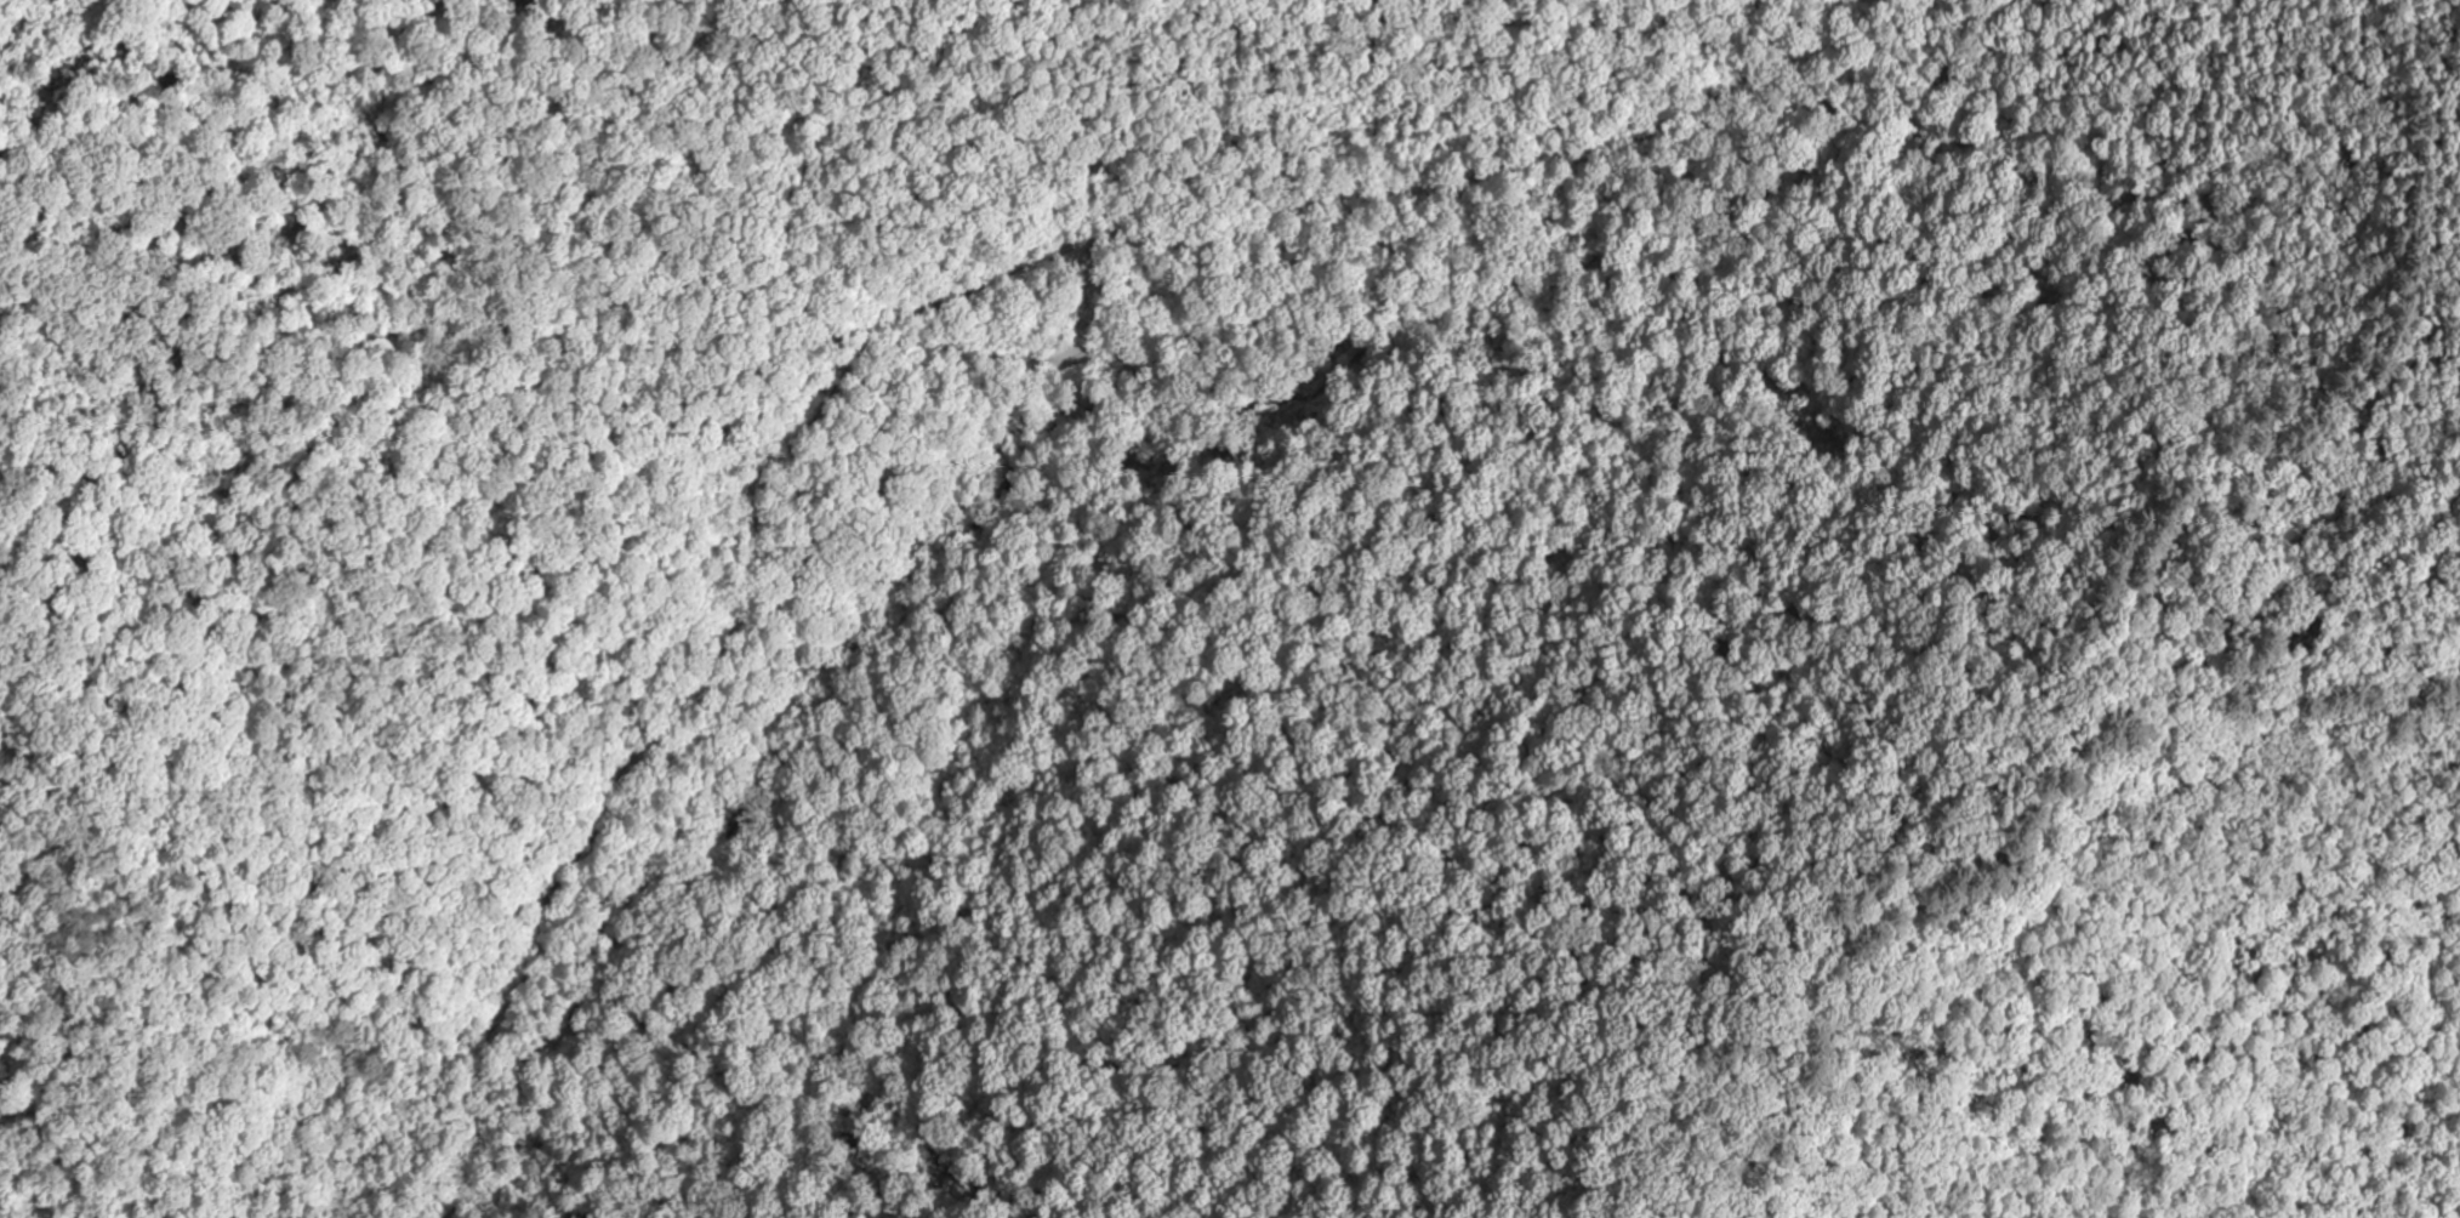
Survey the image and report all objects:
road: (467, 1161)

